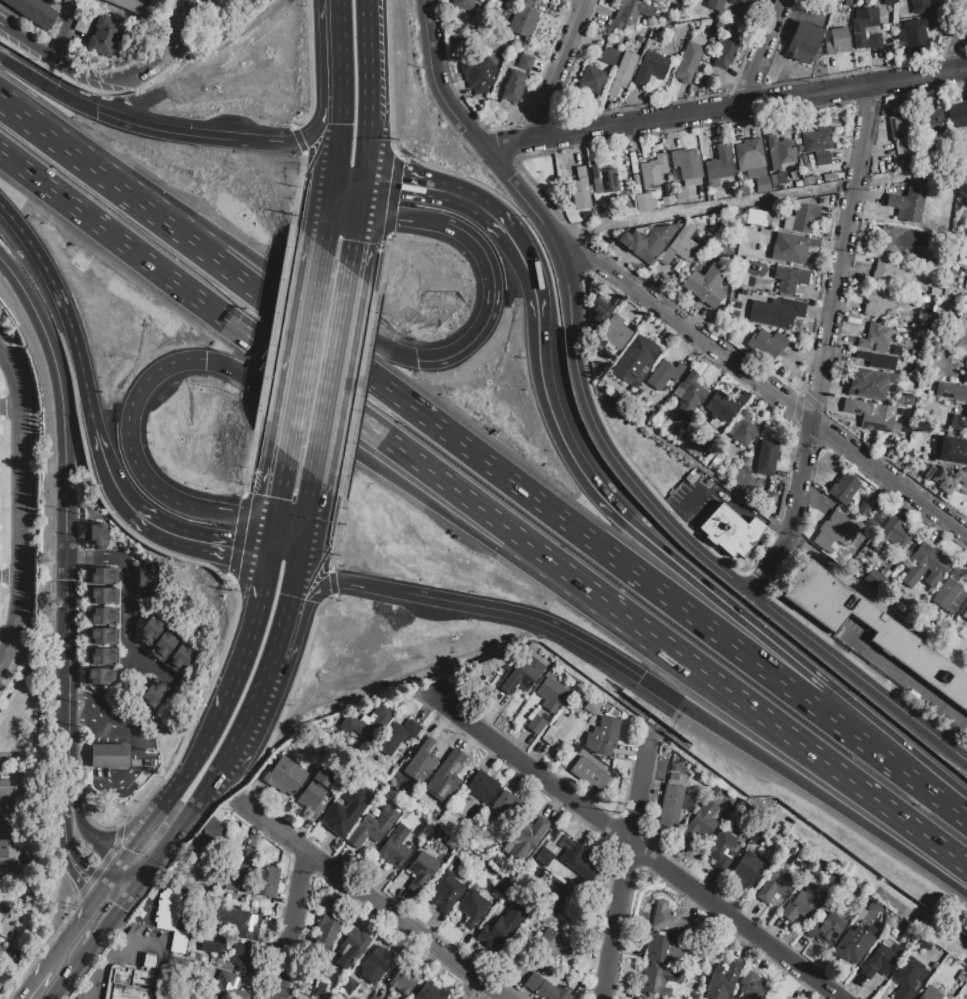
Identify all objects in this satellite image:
building: (655, 1)
building: (740, 1)
building: (462, 3)
building: (715, 5)
building: (137, 6)
building: (924, 6)
building: (34, 11)
building: (628, 13)
building: (523, 18)
building: (86, 22)
building: (865, 28)
building: (916, 30)
road: (65, 32)
building: (105, 37)
building: (640, 38)
building: (837, 41)
building: (802, 42)
road: (170, 47)
building: (726, 50)
road: (957, 51)
road: (339, 52)
road: (760, 53)
building: (609, 56)
building: (524, 62)
building: (688, 62)
road: (312, 66)
building: (651, 68)
road: (60, 70)
road: (558, 70)
building: (622, 72)
building: (478, 74)
road: (387, 79)
building: (592, 79)
road: (45, 89)
building: (512, 89)
road: (370, 91)
road: (725, 110)
traffic signals: (95, 112)
building: (957, 116)
building: (930, 121)
road: (462, 123)
road: (316, 130)
road: (164, 132)
building: (902, 132)
road: (298, 139)
building: (816, 140)
road: (261, 142)
road: (336, 143)
building: (779, 151)
building: (749, 154)
building: (822, 158)
building: (687, 163)
building: (720, 163)
road: (92, 167)
building: (653, 170)
building: (832, 175)
building: (780, 177)
building: (604, 179)
traffic signals: (331, 181)
road: (346, 181)
building: (773, 181)
traffic signals: (361, 182)
building: (762, 184)
road: (296, 188)
building: (580, 189)
building: (744, 190)
road: (437, 192)
road: (358, 198)
road: (391, 198)
building: (667, 200)
building: (646, 201)
building: (907, 204)
building: (603, 209)
road: (705, 209)
road: (324, 212)
building: (963, 214)
traffic signals: (356, 215)
road: (398, 216)
building: (796, 217)
building: (757, 218)
building: (712, 229)
building: (898, 240)
road: (351, 241)
building: (648, 241)
building: (685, 242)
road: (517, 247)
building: (789, 248)
road: (380, 266)
building: (890, 272)
building: (789, 278)
building: (762, 283)
building: (706, 285)
road: (302, 294)
road: (492, 303)
building: (878, 303)
building: (600, 310)
road: (64, 311)
building: (775, 311)
road: (272, 326)
building: (615, 332)
building: (875, 337)
building: (960, 343)
building: (766, 344)
road: (300, 347)
road: (822, 347)
building: (876, 359)
building: (636, 360)
traffic signals: (416, 361)
traffic signals: (206, 362)
road: (281, 364)
road: (330, 372)
building: (664, 374)
building: (964, 377)
road: (755, 379)
building: (869, 382)
building: (951, 390)
road: (357, 393)
building: (689, 393)
building: (721, 406)
road: (10, 410)
building: (875, 416)
building: (961, 422)
building: (741, 429)
road: (128, 433)
building: (953, 450)
building: (766, 457)
building: (714, 462)
road: (249, 463)
road: (382, 470)
building: (928, 470)
road: (107, 474)
building: (740, 476)
building: (948, 479)
road: (277, 486)
building: (843, 487)
road: (535, 493)
road: (727, 495)
road: (20, 507)
road: (67, 509)
building: (862, 510)
road: (240, 514)
road: (307, 515)
building: (875, 518)
traffic signals: (272, 521)
building: (837, 528)
building: (730, 530)
road: (333, 533)
building: (893, 534)
building: (98, 535)
road: (237, 537)
road: (269, 537)
road: (687, 539)
road: (650, 541)
road: (196, 542)
traffic signals: (267, 553)
road: (284, 554)
traffic signals: (301, 556)
building: (925, 566)
building: (102, 576)
building: (145, 582)
road: (341, 582)
road: (331, 583)
road: (294, 586)
road: (125, 594)
building: (948, 594)
building: (104, 595)
road: (610, 606)
building: (964, 614)
building: (104, 615)
road: (529, 618)
building: (873, 628)
building: (150, 630)
building: (103, 636)
road: (247, 636)
parking lot: (849, 636)
road: (280, 638)
building: (163, 646)
road: (839, 646)
building: (103, 656)
building: (179, 658)
building: (488, 664)
building: (524, 671)
building: (99, 676)
road: (907, 678)
traffic signals: (640, 679)
building: (154, 693)
building: (551, 693)
road: (72, 699)
building: (593, 705)
road: (92, 709)
road: (197, 712)
road: (248, 718)
building: (368, 720)
road: (71, 722)
building: (536, 725)
building: (563, 729)
building: (396, 736)
building: (602, 736)
road: (813, 752)
building: (109, 755)
building: (421, 762)
parking lot: (145, 764)
road: (134, 768)
building: (588, 773)
building: (445, 775)
building: (285, 776)
building: (672, 776)
road: (98, 781)
road: (926, 783)
road: (804, 786)
building: (482, 787)
road: (65, 790)
building: (711, 790)
building: (315, 791)
building: (362, 793)
building: (7, 795)
road: (72, 795)
road: (175, 795)
building: (343, 799)
road: (218, 805)
building: (507, 805)
building: (672, 805)
building: (344, 815)
road: (10, 825)
building: (372, 827)
road: (179, 829)
building: (697, 829)
road: (115, 838)
building: (209, 839)
building: (527, 840)
road: (94, 844)
building: (394, 847)
road: (639, 849)
building: (719, 851)
road: (72, 852)
building: (8, 854)
building: (247, 857)
road: (625, 859)
building: (577, 860)
road: (101, 869)
traffic signals: (121, 869)
building: (420, 871)
building: (747, 871)
building: (815, 872)
road: (130, 876)
road: (114, 877)
building: (237, 878)
building: (265, 881)
traffic signals: (140, 883)
traffic signals: (108, 886)
building: (501, 886)
building: (774, 886)
road: (133, 891)
road: (117, 893)
building: (442, 894)
traffic signals: (127, 900)
road: (370, 901)
building: (565, 902)
building: (803, 903)
building: (872, 906)
building: (471, 907)
building: (166, 909)
building: (544, 914)
building: (6, 920)
building: (670, 920)
building: (236, 922)
road: (108, 924)
road: (77, 925)
road: (292, 925)
building: (501, 927)
building: (826, 928)
building: (325, 932)
building: (178, 941)
building: (853, 942)
building: (924, 943)
building: (554, 944)
building: (213, 946)
building: (352, 948)
building: (665, 948)
road: (112, 951)
road: (8, 954)
building: (242, 956)
parking lot: (120, 957)
building: (878, 962)
building: (376, 964)
road: (156, 973)
road: (72, 974)
building: (961, 976)
building: (404, 978)
building: (908, 978)
building: (658, 979)
building: (130, 980)
building: (722, 980)
road: (35, 982)
building: (347, 985)
building: (227, 986)
building: (753, 986)
building: (545, 988)
building: (429, 992)
building: (930, 994)
building: (450, 998)
building: (641, 998)
building: (785, 998)
building: (787, 998)
building: (954, 998)

